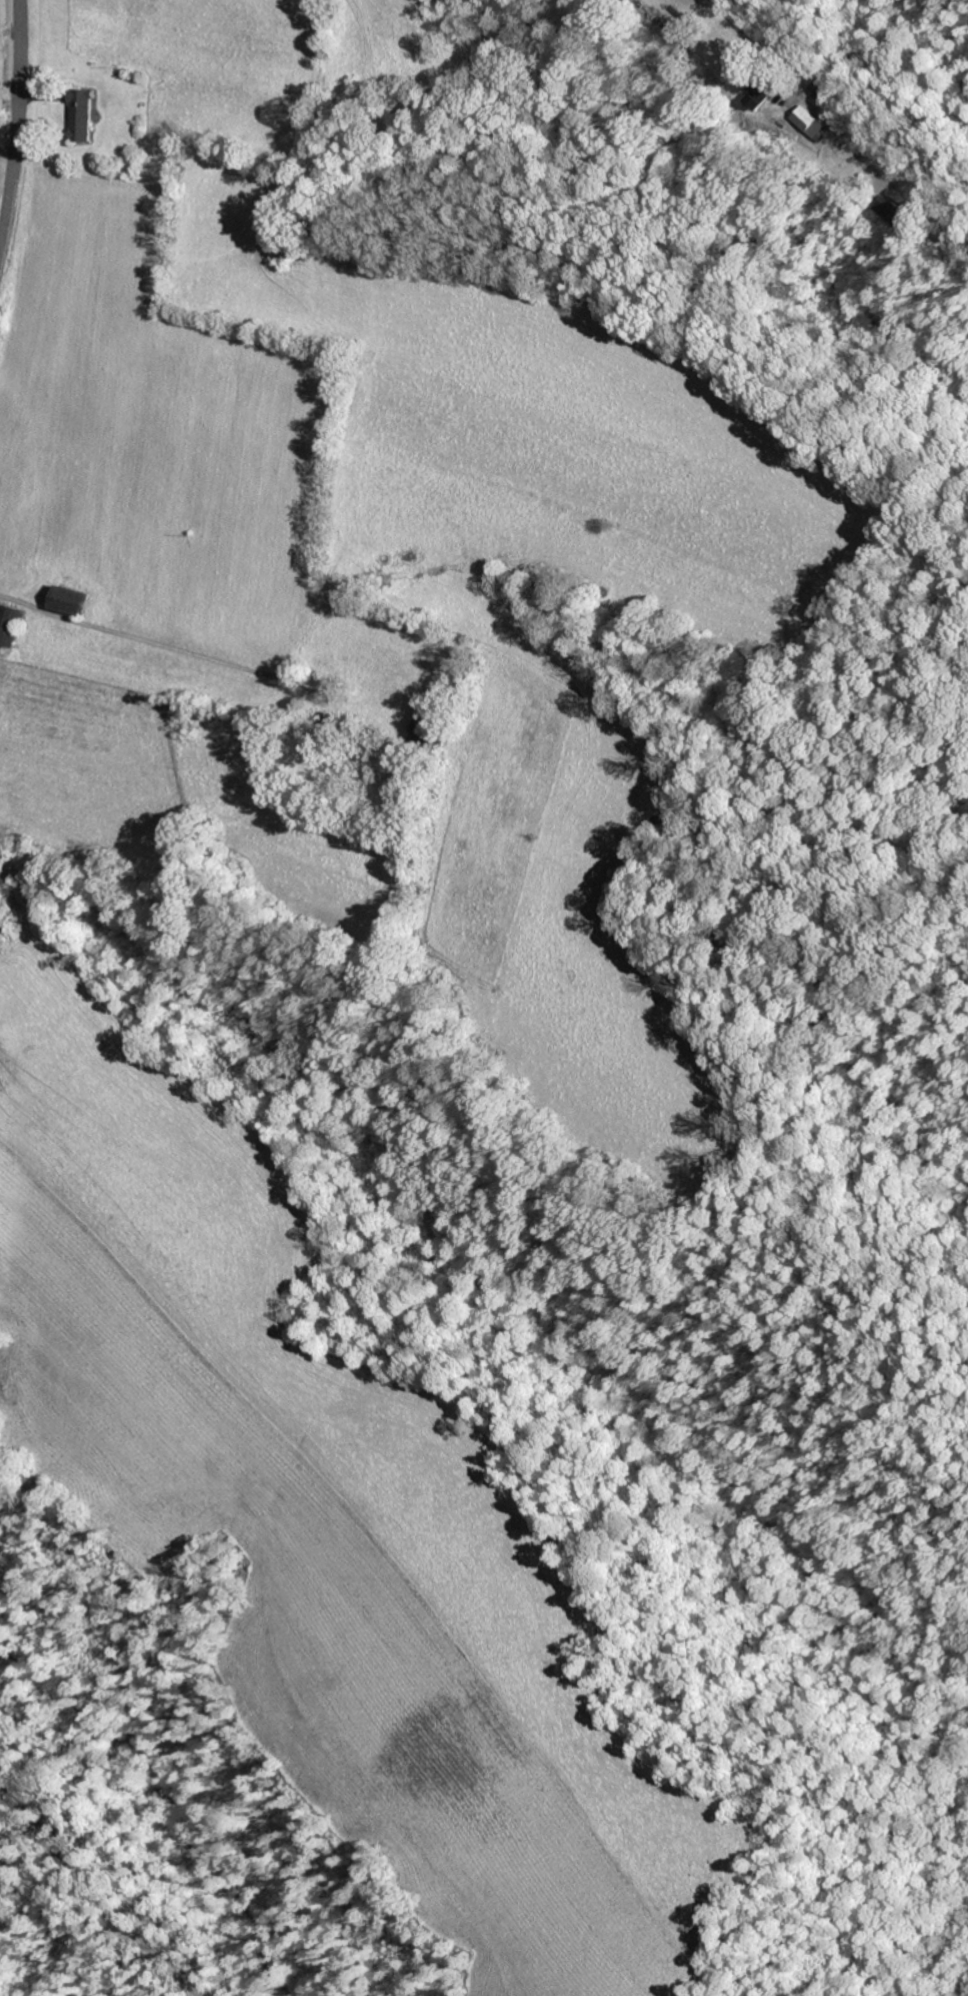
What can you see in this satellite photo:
building: (757, 95)
road: (857, 109)
building: (82, 116)
road: (15, 117)
building: (810, 124)
building: (893, 212)
building: (69, 600)
building: (10, 624)
road: (137, 634)
building: (421, 728)
road: (910, 1872)

